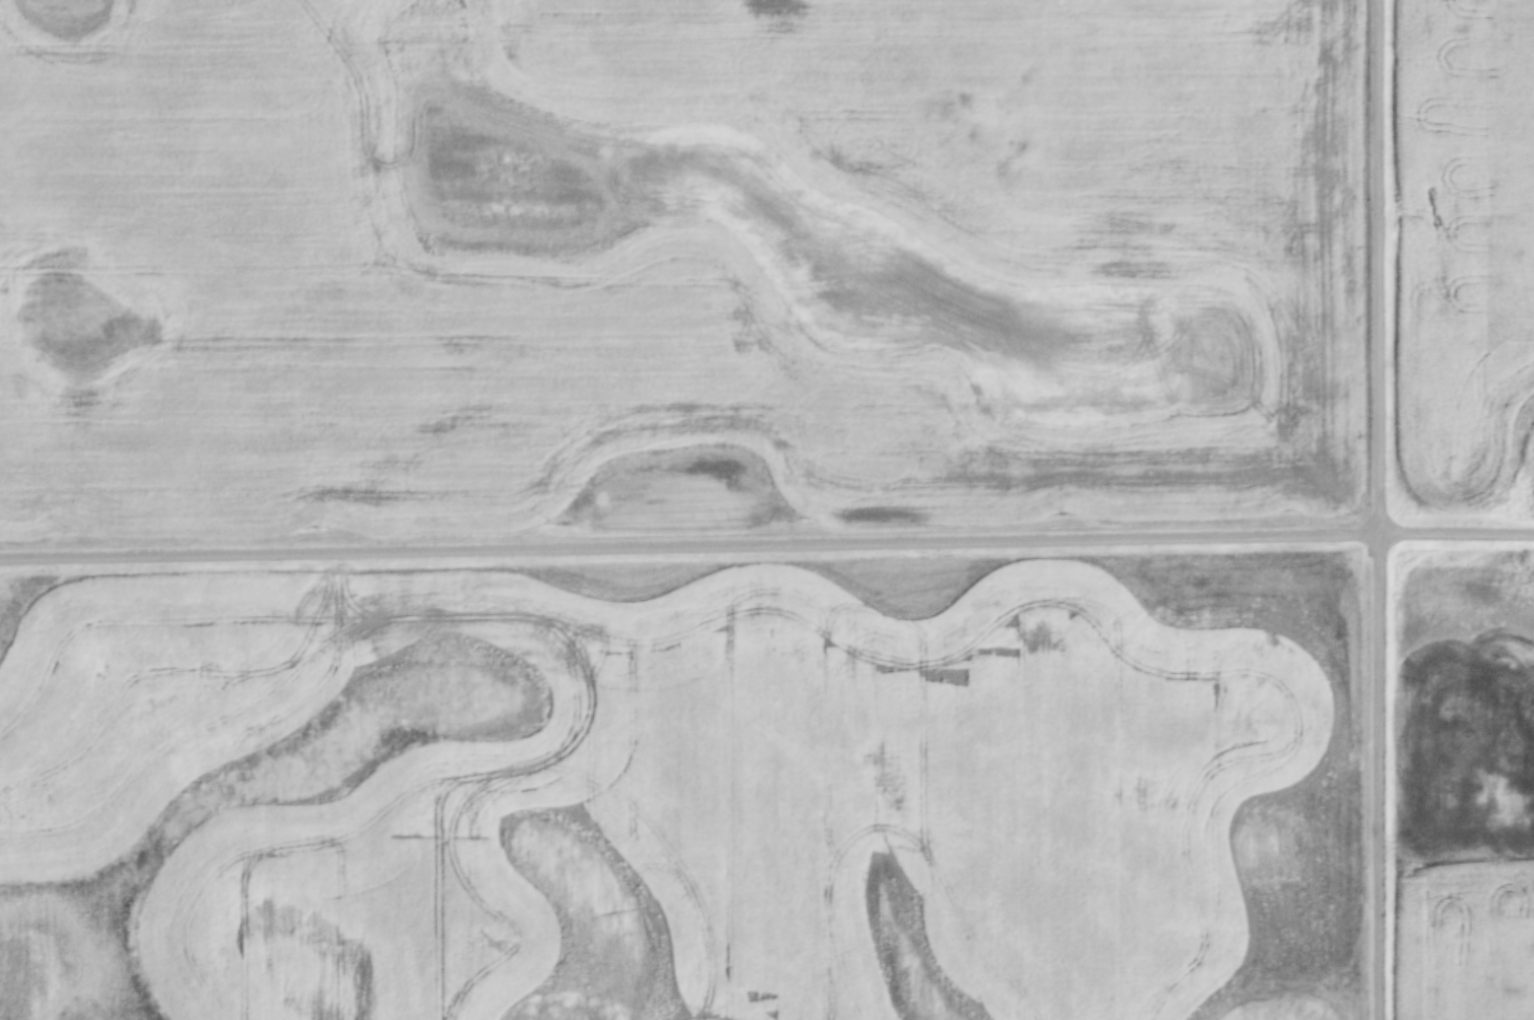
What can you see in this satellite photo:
road: (1457, 224)
road: (1381, 509)
road: (766, 547)

